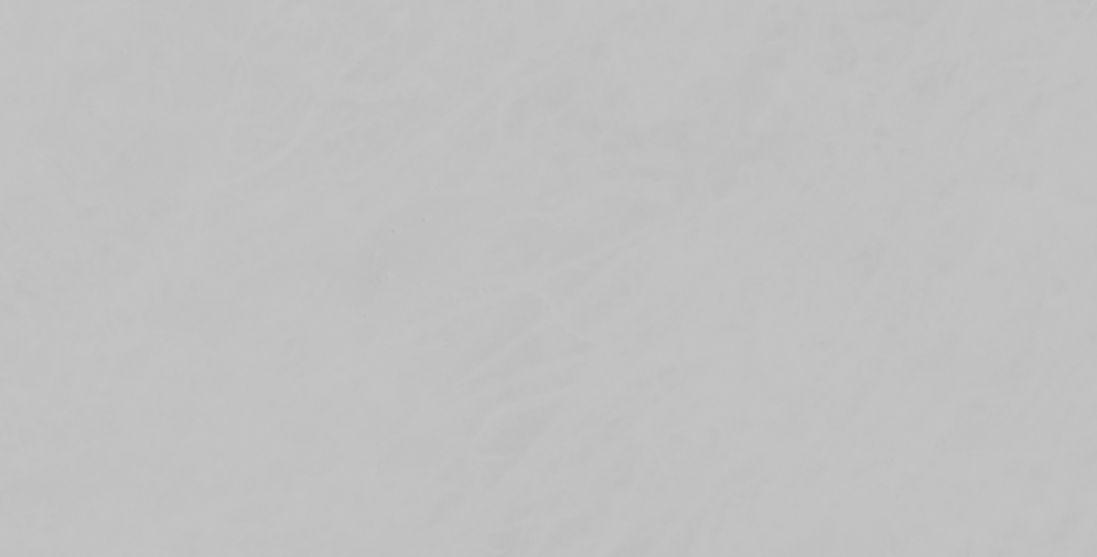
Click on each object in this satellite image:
road: (260, 261)

